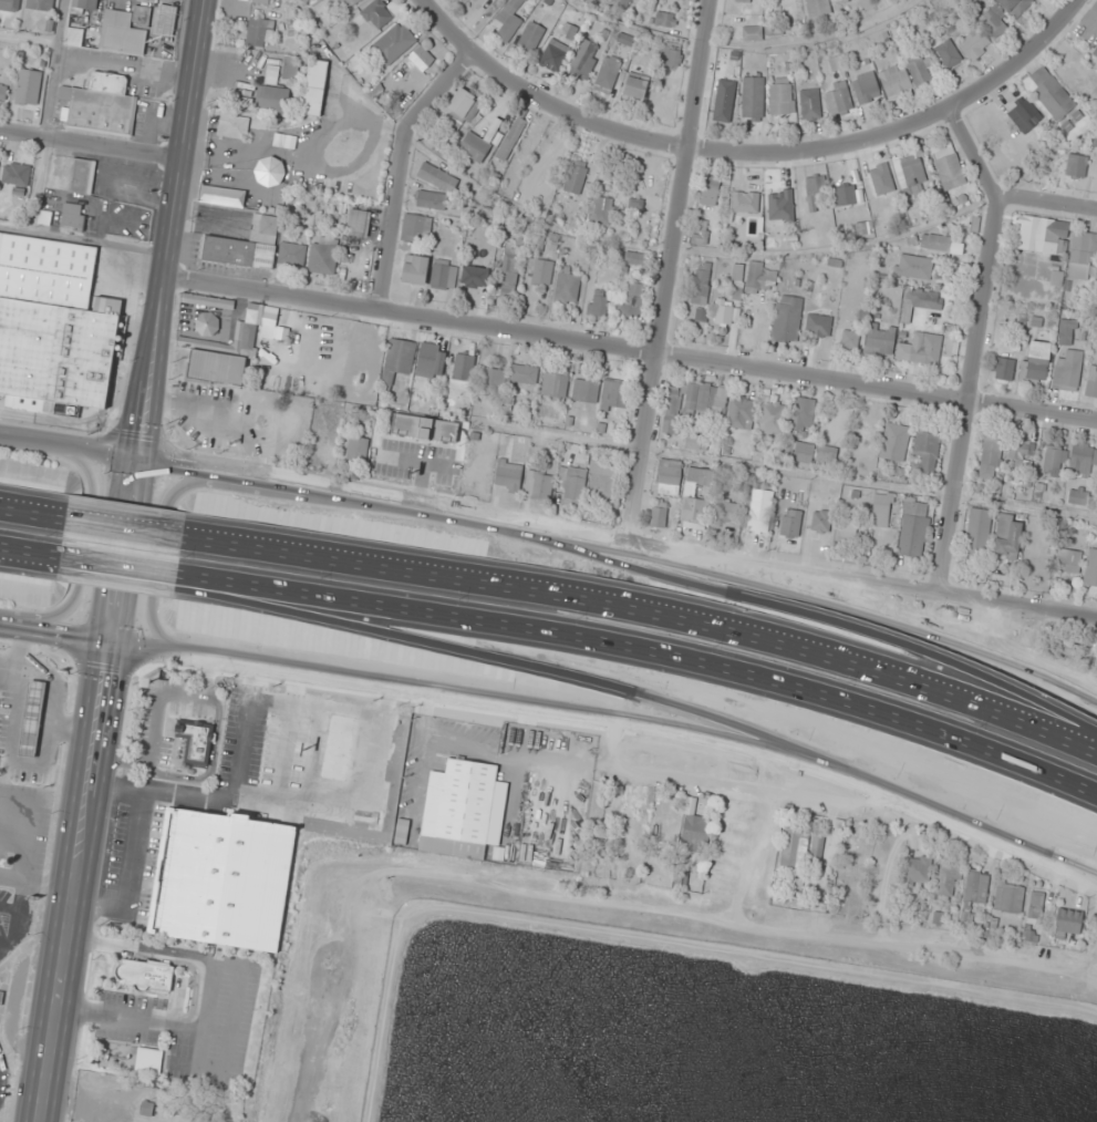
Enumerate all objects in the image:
building: (464, 0)
building: (744, 0)
building: (260, 1)
building: (350, 3)
building: (10, 4)
building: (40, 4)
building: (85, 4)
building: (617, 7)
building: (1015, 7)
building: (818, 8)
building: (377, 14)
building: (166, 19)
building: (665, 19)
building: (509, 20)
building: (994, 22)
building: (777, 30)
building: (125, 31)
building: (257, 31)
building: (753, 33)
building: (74, 37)
building: (530, 37)
building: (625, 39)
building: (394, 43)
building: (973, 43)
building: (559, 49)
building: (1095, 51)
building: (671, 54)
building: (948, 54)
building: (422, 58)
building: (586, 58)
building: (837, 63)
building: (291, 68)
building: (920, 70)
building: (608, 75)
building: (1077, 76)
building: (894, 81)
building: (29, 88)
building: (314, 88)
building: (866, 88)
building: (635, 89)
building: (3, 92)
building: (1051, 94)
building: (753, 96)
building: (782, 96)
building: (273, 99)
building: (839, 99)
building: (724, 101)
building: (101, 104)
building: (810, 104)
building: (465, 105)
building: (1024, 115)
building: (234, 126)
building: (511, 140)
road: (91, 146)
building: (443, 146)
building: (475, 147)
road: (755, 156)
building: (948, 166)
building: (1077, 167)
road: (401, 171)
building: (269, 172)
building: (910, 173)
building: (17, 174)
building: (82, 176)
building: (437, 177)
building: (576, 177)
building: (884, 183)
building: (817, 188)
building: (710, 191)
building: (846, 196)
building: (431, 200)
building: (745, 203)
building: (780, 206)
road: (1048, 206)
building: (601, 210)
building: (73, 216)
building: (45, 218)
building: (359, 223)
building: (415, 227)
building: (861, 230)
building: (1041, 235)
building: (700, 238)
building: (941, 243)
building: (245, 246)
building: (292, 255)
building: (1083, 257)
building: (323, 258)
building: (635, 259)
building: (913, 266)
building: (415, 270)
building: (541, 272)
road: (663, 274)
building: (509, 275)
building: (444, 276)
building: (762, 277)
building: (475, 278)
building: (737, 281)
building: (701, 282)
building: (567, 289)
building: (632, 300)
building: (207, 301)
building: (919, 301)
building: (598, 307)
building: (787, 319)
road: (157, 321)
building: (207, 325)
building: (818, 326)
building: (53, 327)
building: (1066, 332)
building: (850, 340)
building: (880, 340)
road: (975, 344)
road: (631, 348)
building: (369, 351)
building: (921, 351)
building: (227, 357)
building: (399, 360)
building: (432, 361)
building: (1036, 362)
building: (1003, 369)
building: (1067, 371)
building: (524, 374)
building: (493, 380)
building: (555, 384)
building: (1091, 385)
building: (586, 390)
building: (614, 395)
building: (693, 403)
building: (741, 413)
building: (804, 414)
building: (772, 418)
building: (425, 429)
building: (696, 442)
building: (894, 443)
building: (519, 446)
road: (69, 447)
building: (358, 451)
building: (800, 452)
building: (925, 452)
building: (1020, 453)
building: (827, 456)
building: (990, 457)
traffic signals: (138, 459)
building: (1083, 460)
building: (1054, 462)
building: (509, 474)
building: (669, 478)
building: (602, 481)
building: (572, 484)
building: (539, 485)
building: (689, 492)
building: (1078, 496)
road: (413, 509)
building: (759, 511)
building: (728, 512)
road: (33, 514)
building: (880, 516)
building: (658, 517)
building: (820, 522)
building: (790, 524)
road: (125, 528)
building: (913, 529)
building: (847, 531)
building: (977, 532)
building: (1008, 536)
road: (83, 549)
road: (31, 550)
road: (159, 553)
road: (31, 557)
building: (1068, 562)
road: (120, 564)
building: (1090, 568)
road: (118, 577)
road: (892, 585)
road: (648, 604)
road: (831, 615)
road: (896, 615)
park: (1004, 626)
road: (55, 634)
traffic signals: (112, 645)
road: (645, 649)
road: (545, 678)
building: (32, 719)
road: (614, 720)
building: (196, 741)
building: (339, 748)
road: (417, 763)
road: (664, 773)
building: (458, 810)
building: (632, 825)
building: (667, 831)
building: (756, 832)
building: (695, 833)
building: (720, 838)
building: (790, 845)
building: (851, 855)
building: (815, 857)
building: (249, 864)
building: (917, 869)
building: (946, 878)
road: (76, 883)
building: (975, 888)
building: (796, 891)
building: (1008, 898)
building: (1035, 906)
building: (1068, 920)
building: (145, 975)
wastewater plant: (705, 1041)
building: (148, 1061)

